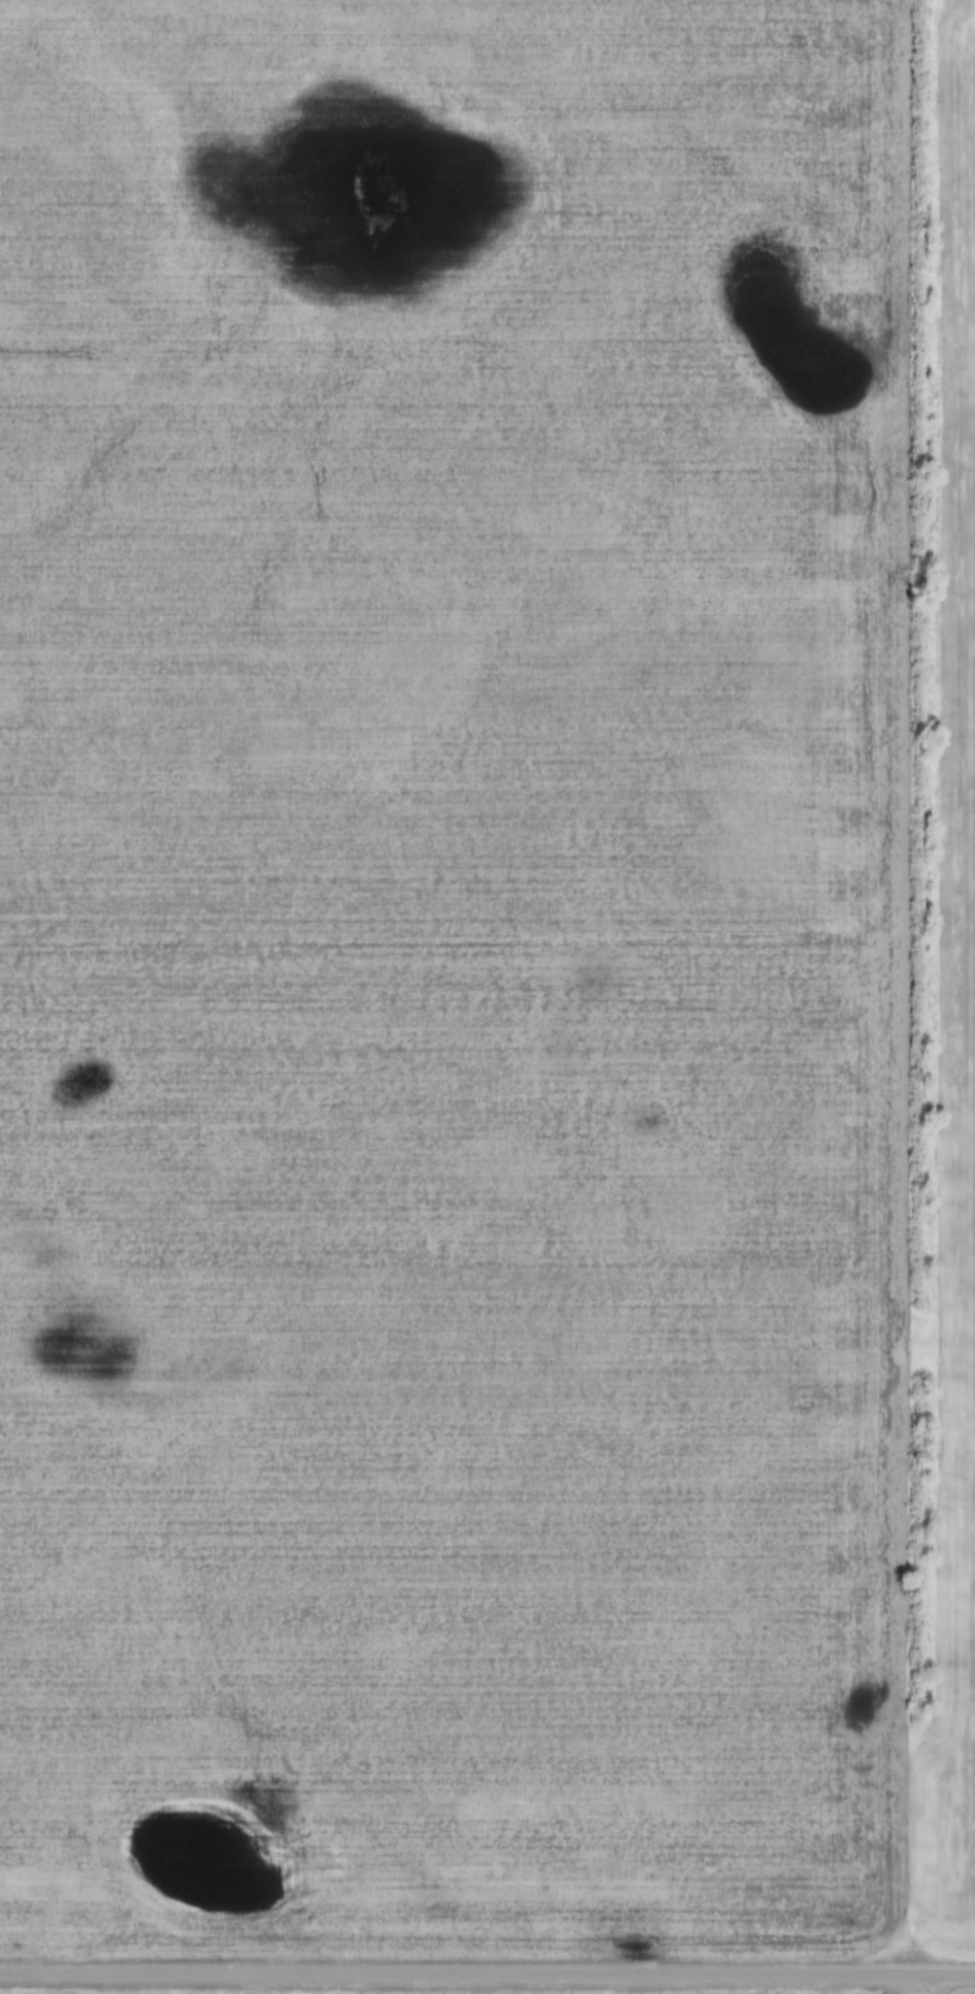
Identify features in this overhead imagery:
road: (487, 1970)

